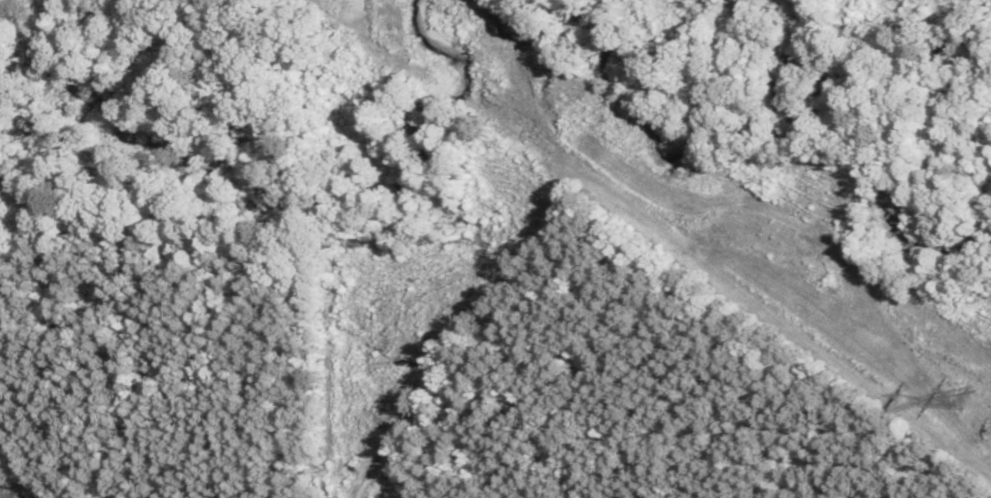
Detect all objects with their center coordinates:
power tower: (964, 398)
road: (26, 459)

